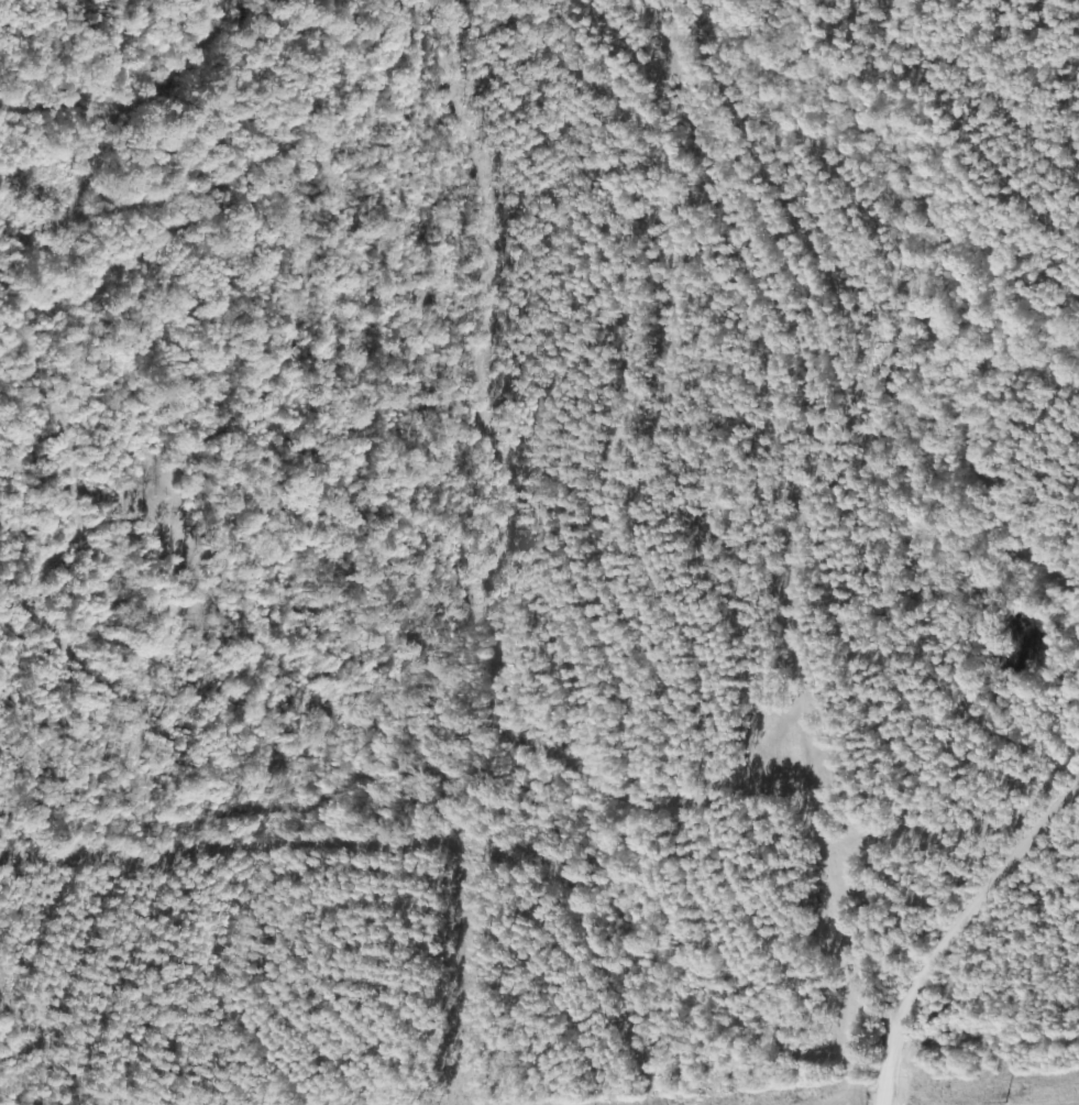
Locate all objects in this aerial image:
road: (956, 931)

